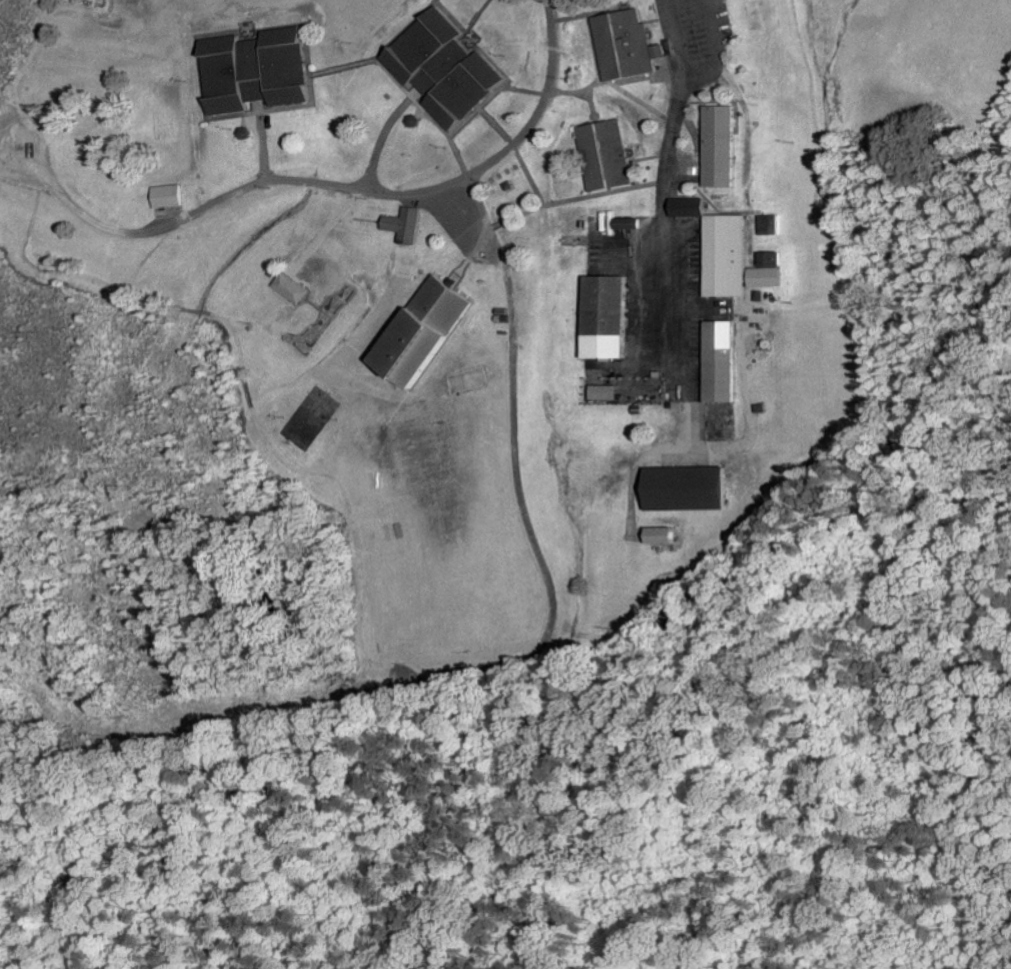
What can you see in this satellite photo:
building: (622, 45)
road: (714, 49)
building: (436, 67)
building: (249, 71)
building: (714, 146)
building: (601, 154)
road: (655, 180)
building: (164, 196)
building: (682, 207)
building: (621, 223)
building: (400, 224)
building: (769, 224)
building: (722, 255)
building: (767, 271)
building: (288, 288)
building: (602, 317)
building: (417, 334)
building: (716, 361)
building: (602, 392)
building: (680, 488)
building: (656, 535)

